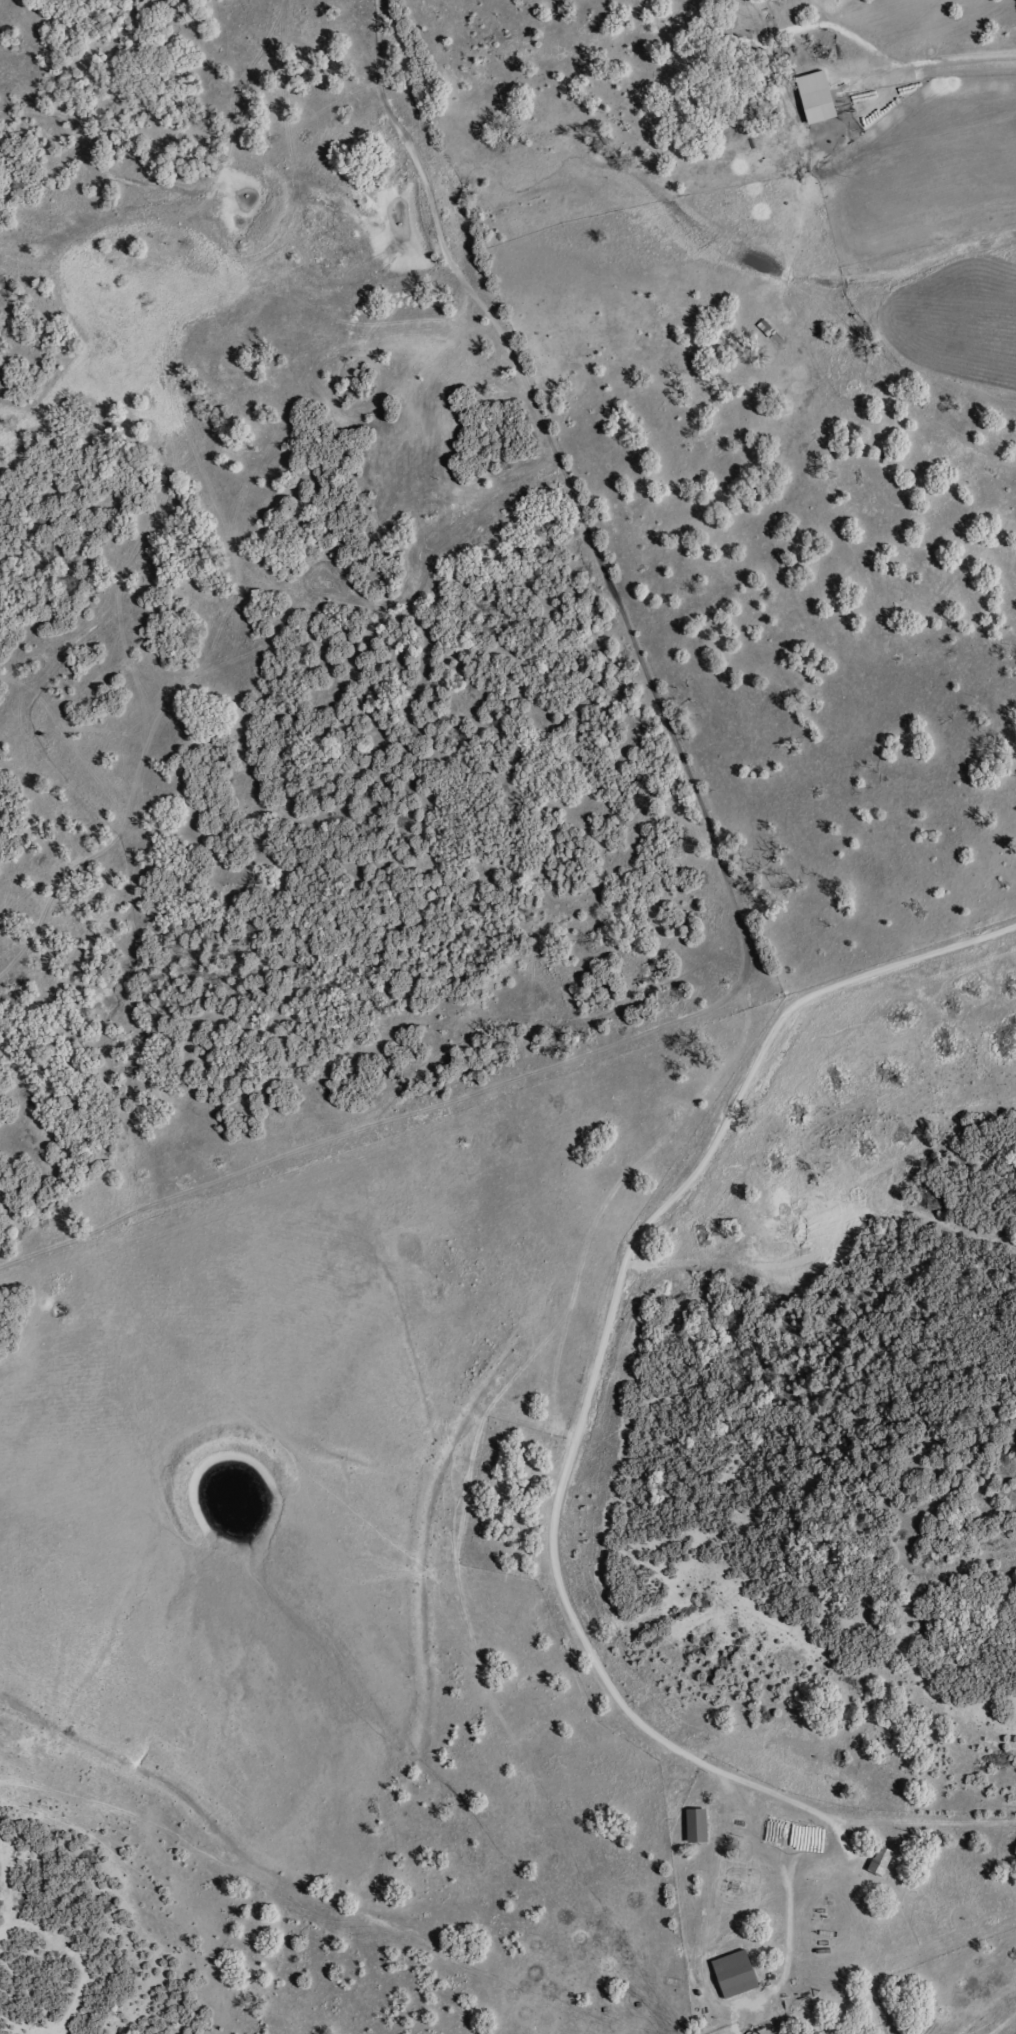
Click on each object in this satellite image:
building: (815, 96)
building: (766, 328)
road: (911, 967)
road: (557, 1528)
building: (696, 1825)
building: (880, 1860)
building: (734, 1973)

